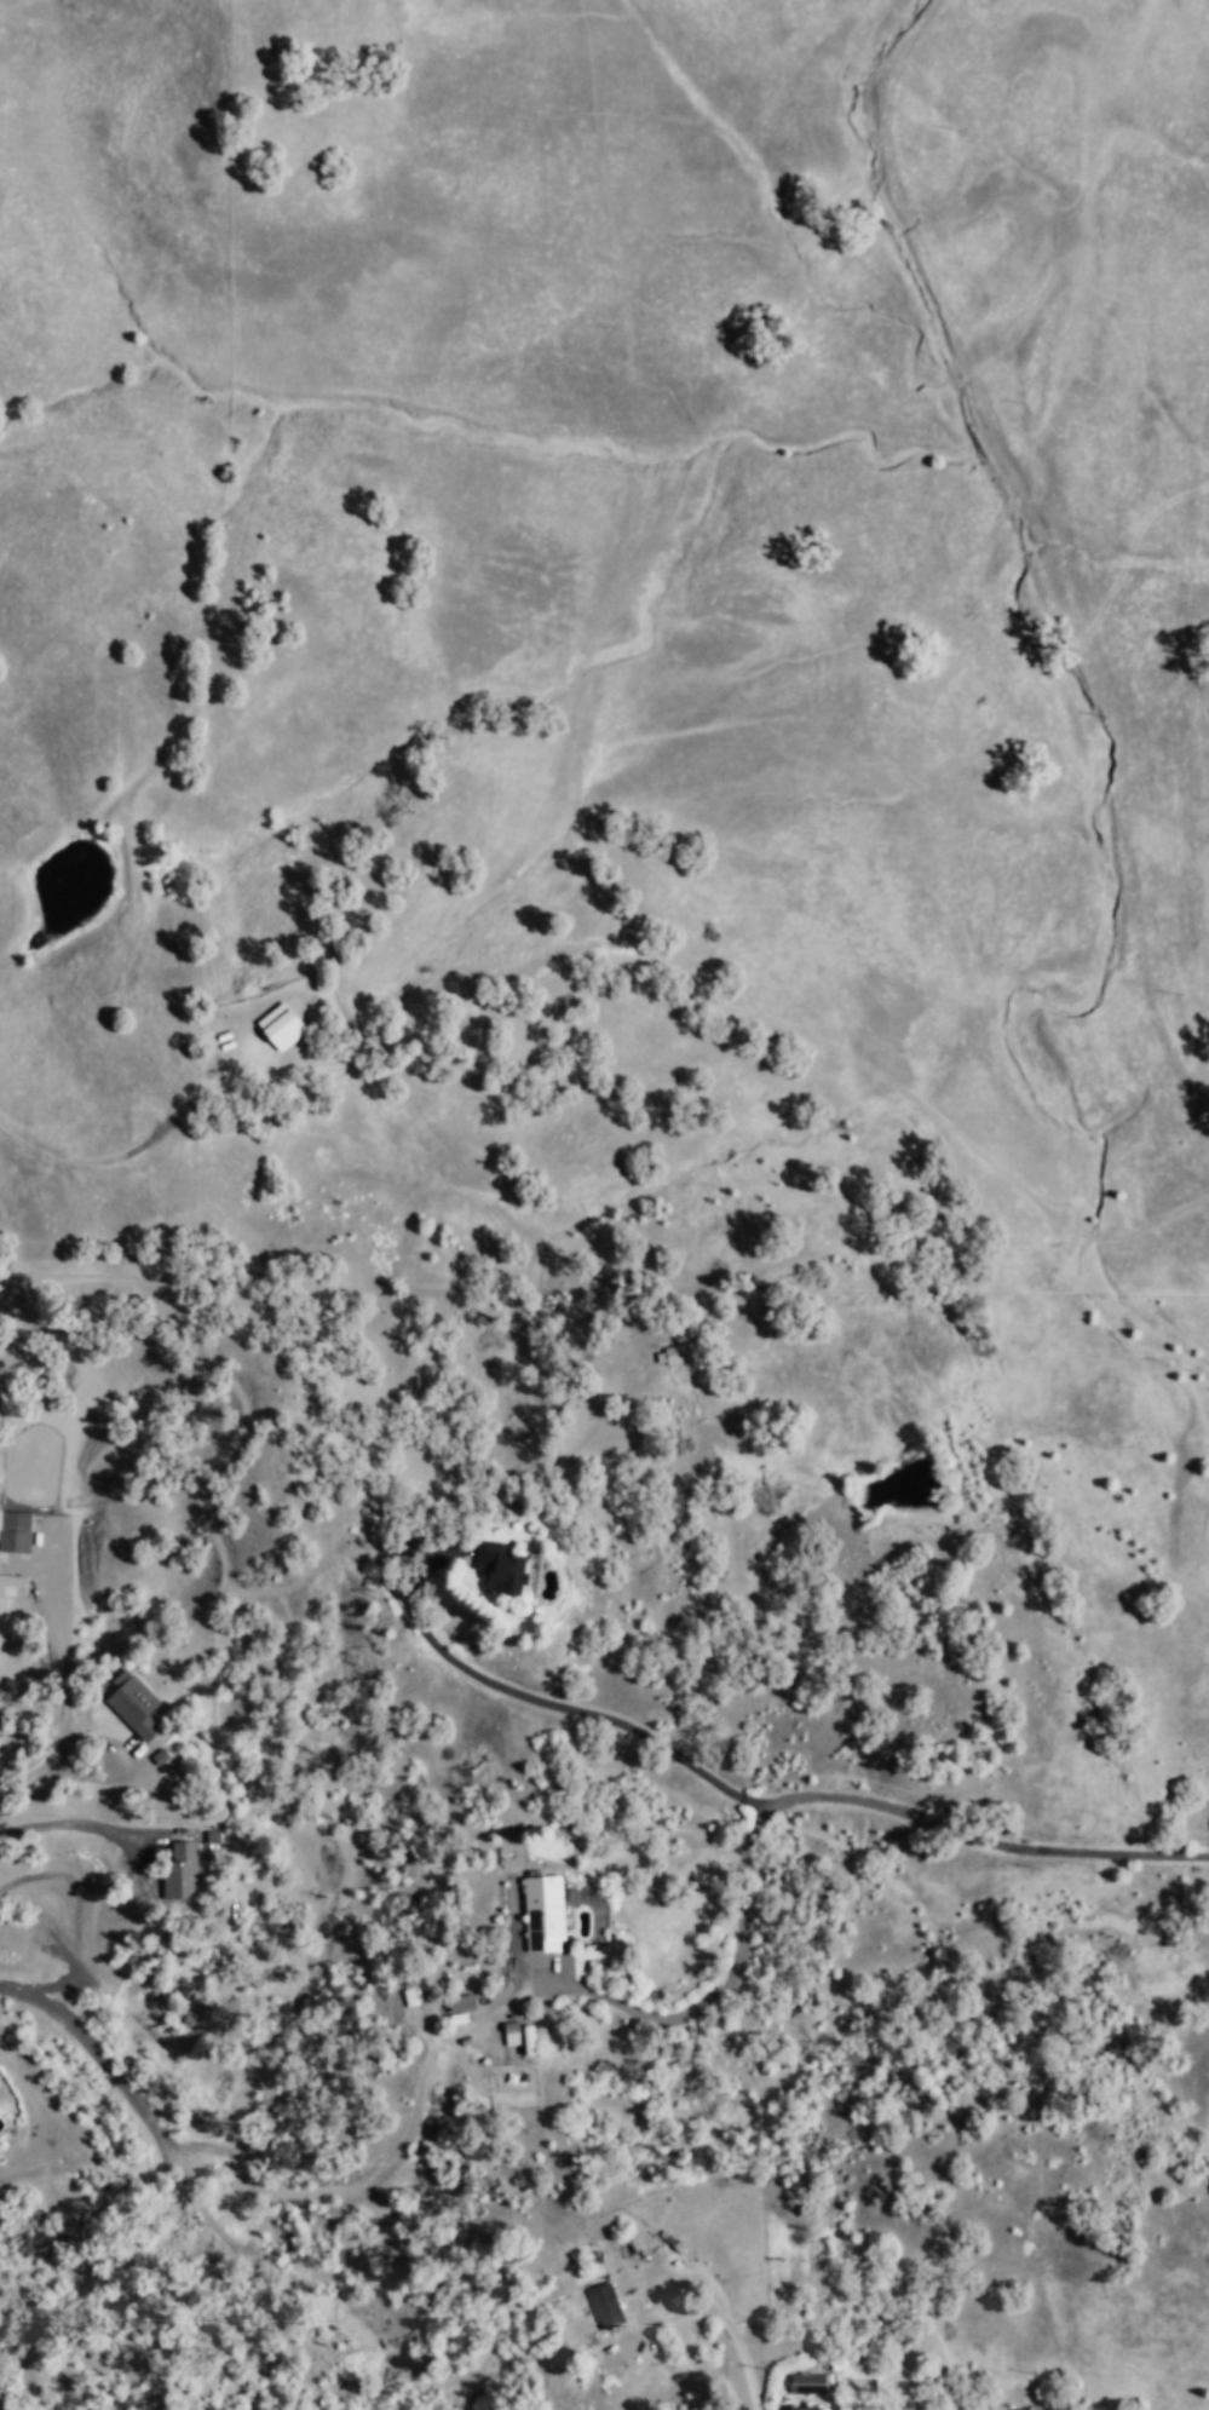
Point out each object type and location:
building: (286, 1024)
building: (678, 1352)
building: (16, 1529)
building: (511, 1566)
building: (13, 1583)
building: (137, 1703)
road: (791, 1805)
building: (183, 1870)
building: (548, 1910)
road: (729, 1954)
building: (411, 1995)
building: (464, 2001)
building: (514, 2031)
building: (532, 2038)
road: (185, 2178)
building: (609, 2305)
road: (725, 2323)
building: (810, 2381)
building: (808, 2408)

